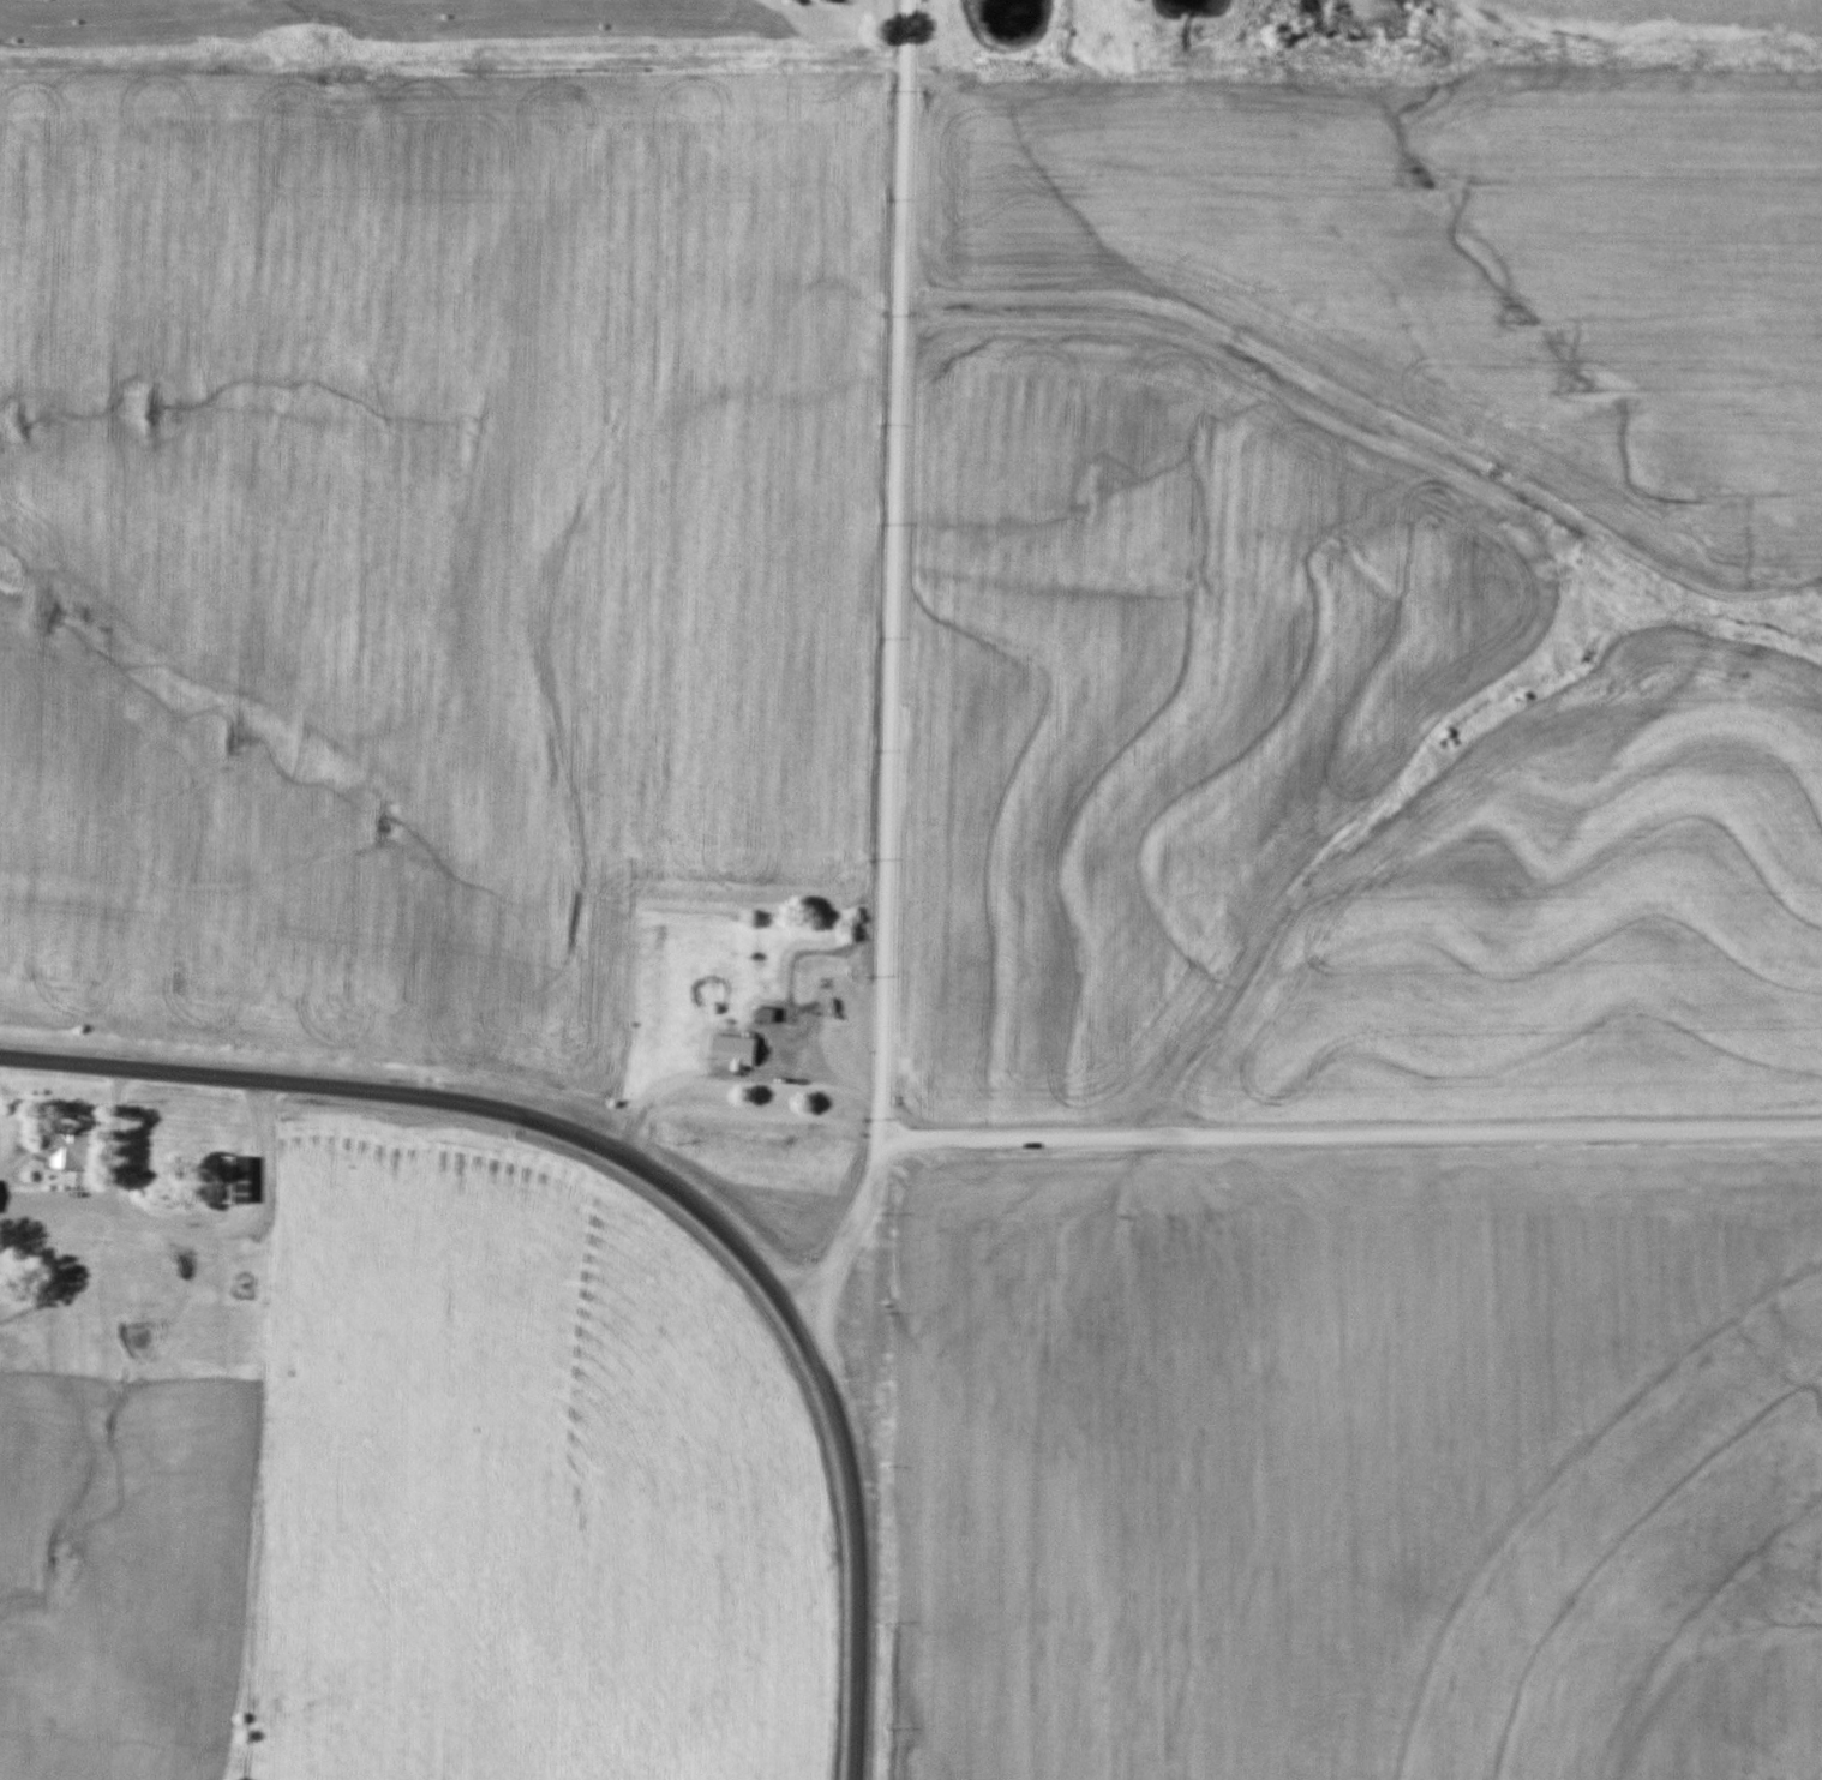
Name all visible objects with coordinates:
road: (895, 569)
building: (732, 1051)
road: (1356, 1135)
building: (67, 1150)
road: (657, 1176)
building: (234, 1179)
road: (50, 1205)
road: (847, 1228)
road: (174, 1230)
building: (242, 1285)

